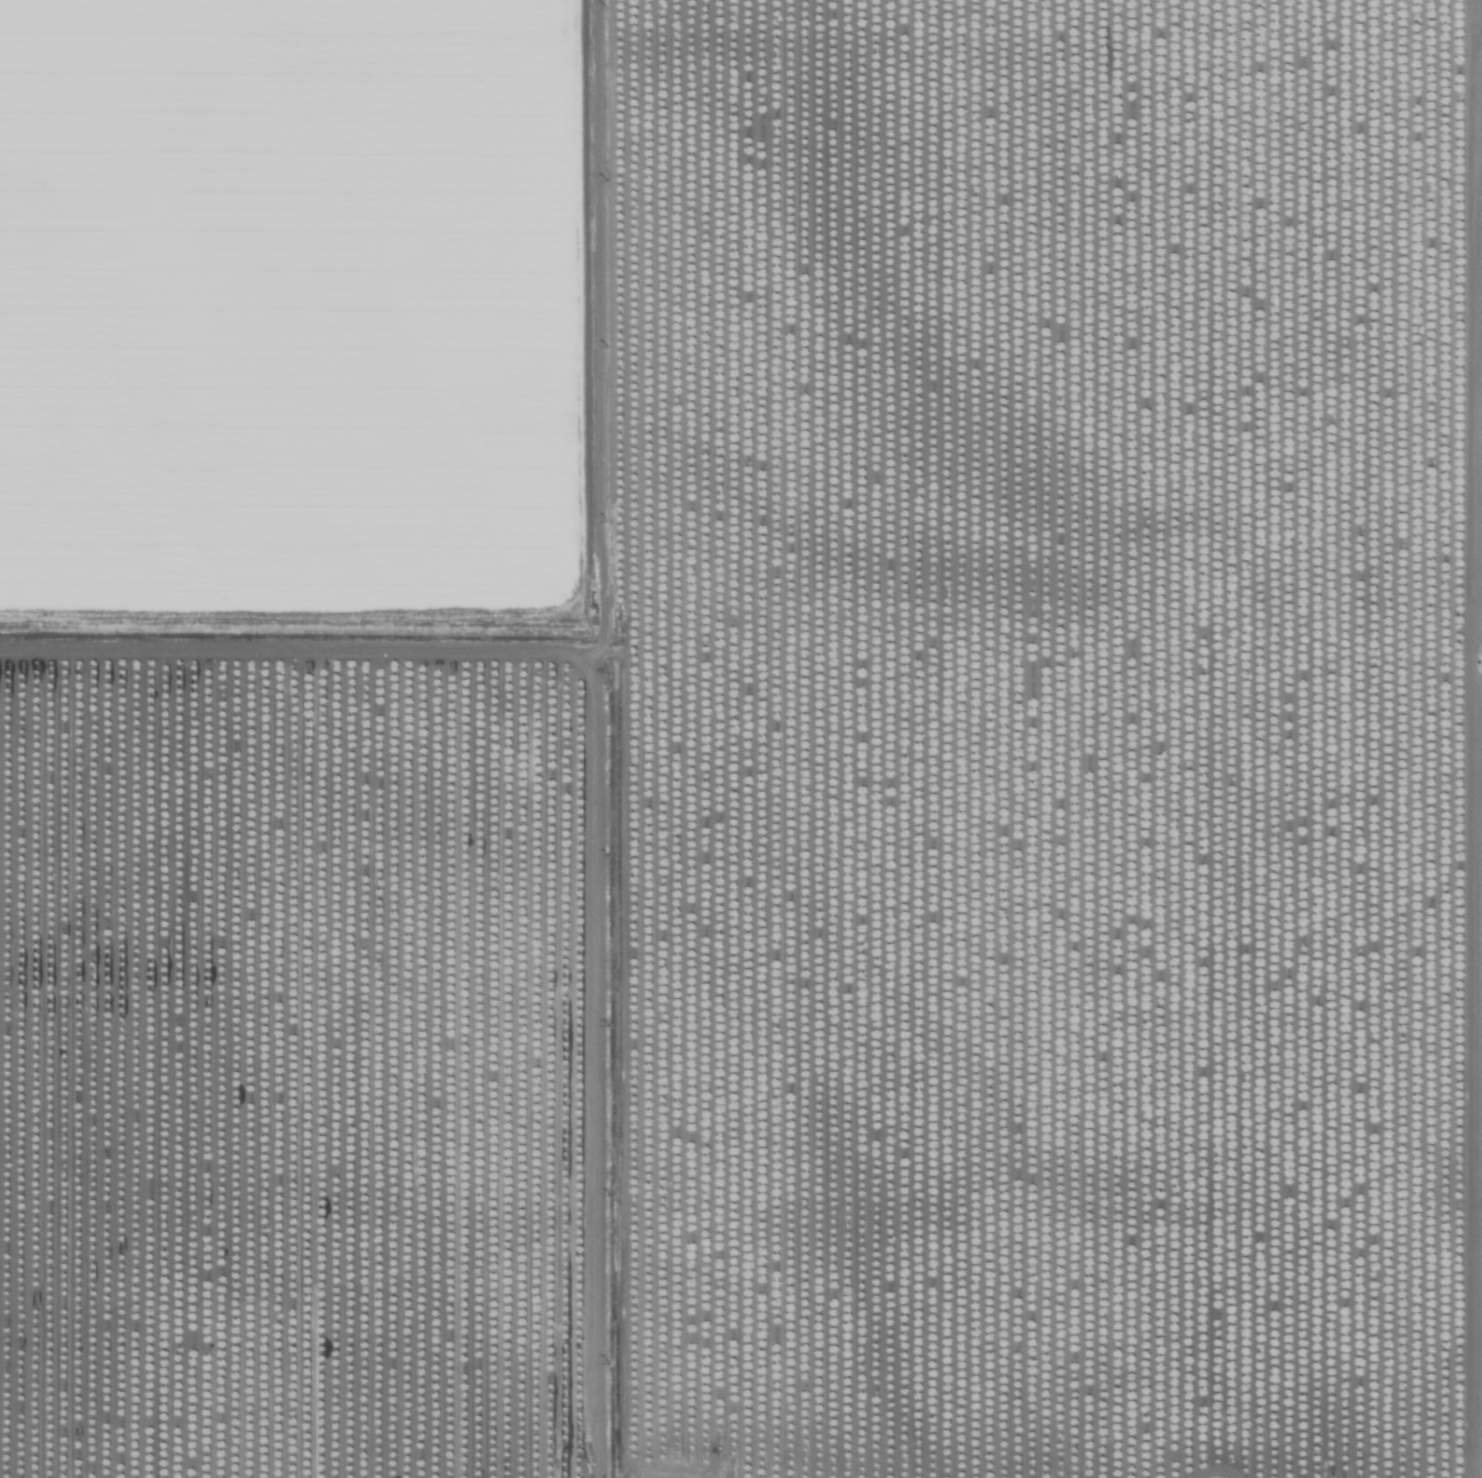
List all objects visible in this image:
road: (1477, 738)

